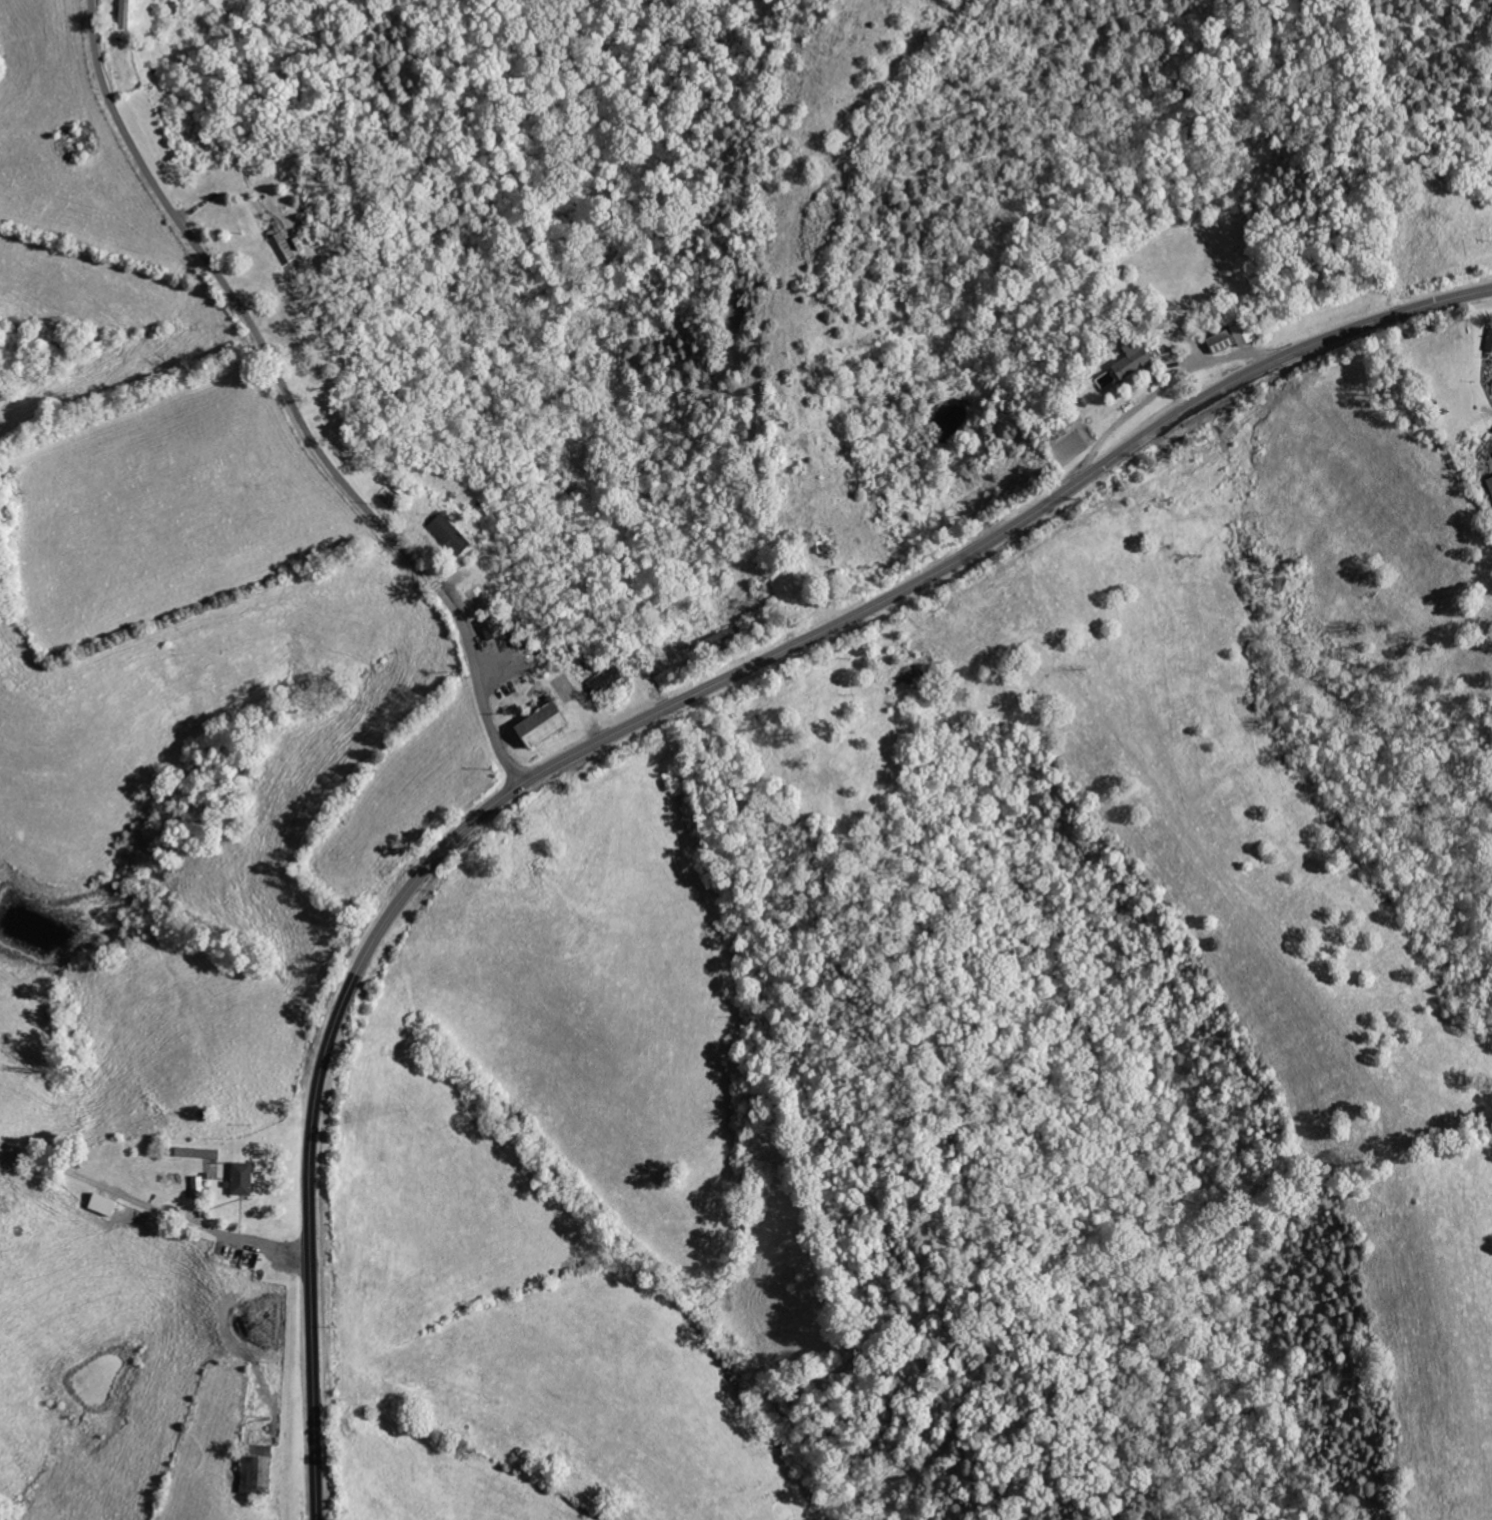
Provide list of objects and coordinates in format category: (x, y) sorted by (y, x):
building: (128, 14)
building: (1233, 339)
building: (1491, 348)
building: (1137, 360)
road: (293, 401)
building: (1491, 482)
building: (453, 534)
road: (648, 718)
building: (548, 726)
building: (195, 1153)
building: (238, 1179)
building: (195, 1187)
building: (99, 1204)
road: (153, 1207)
building: (232, 1254)
building: (252, 1470)

